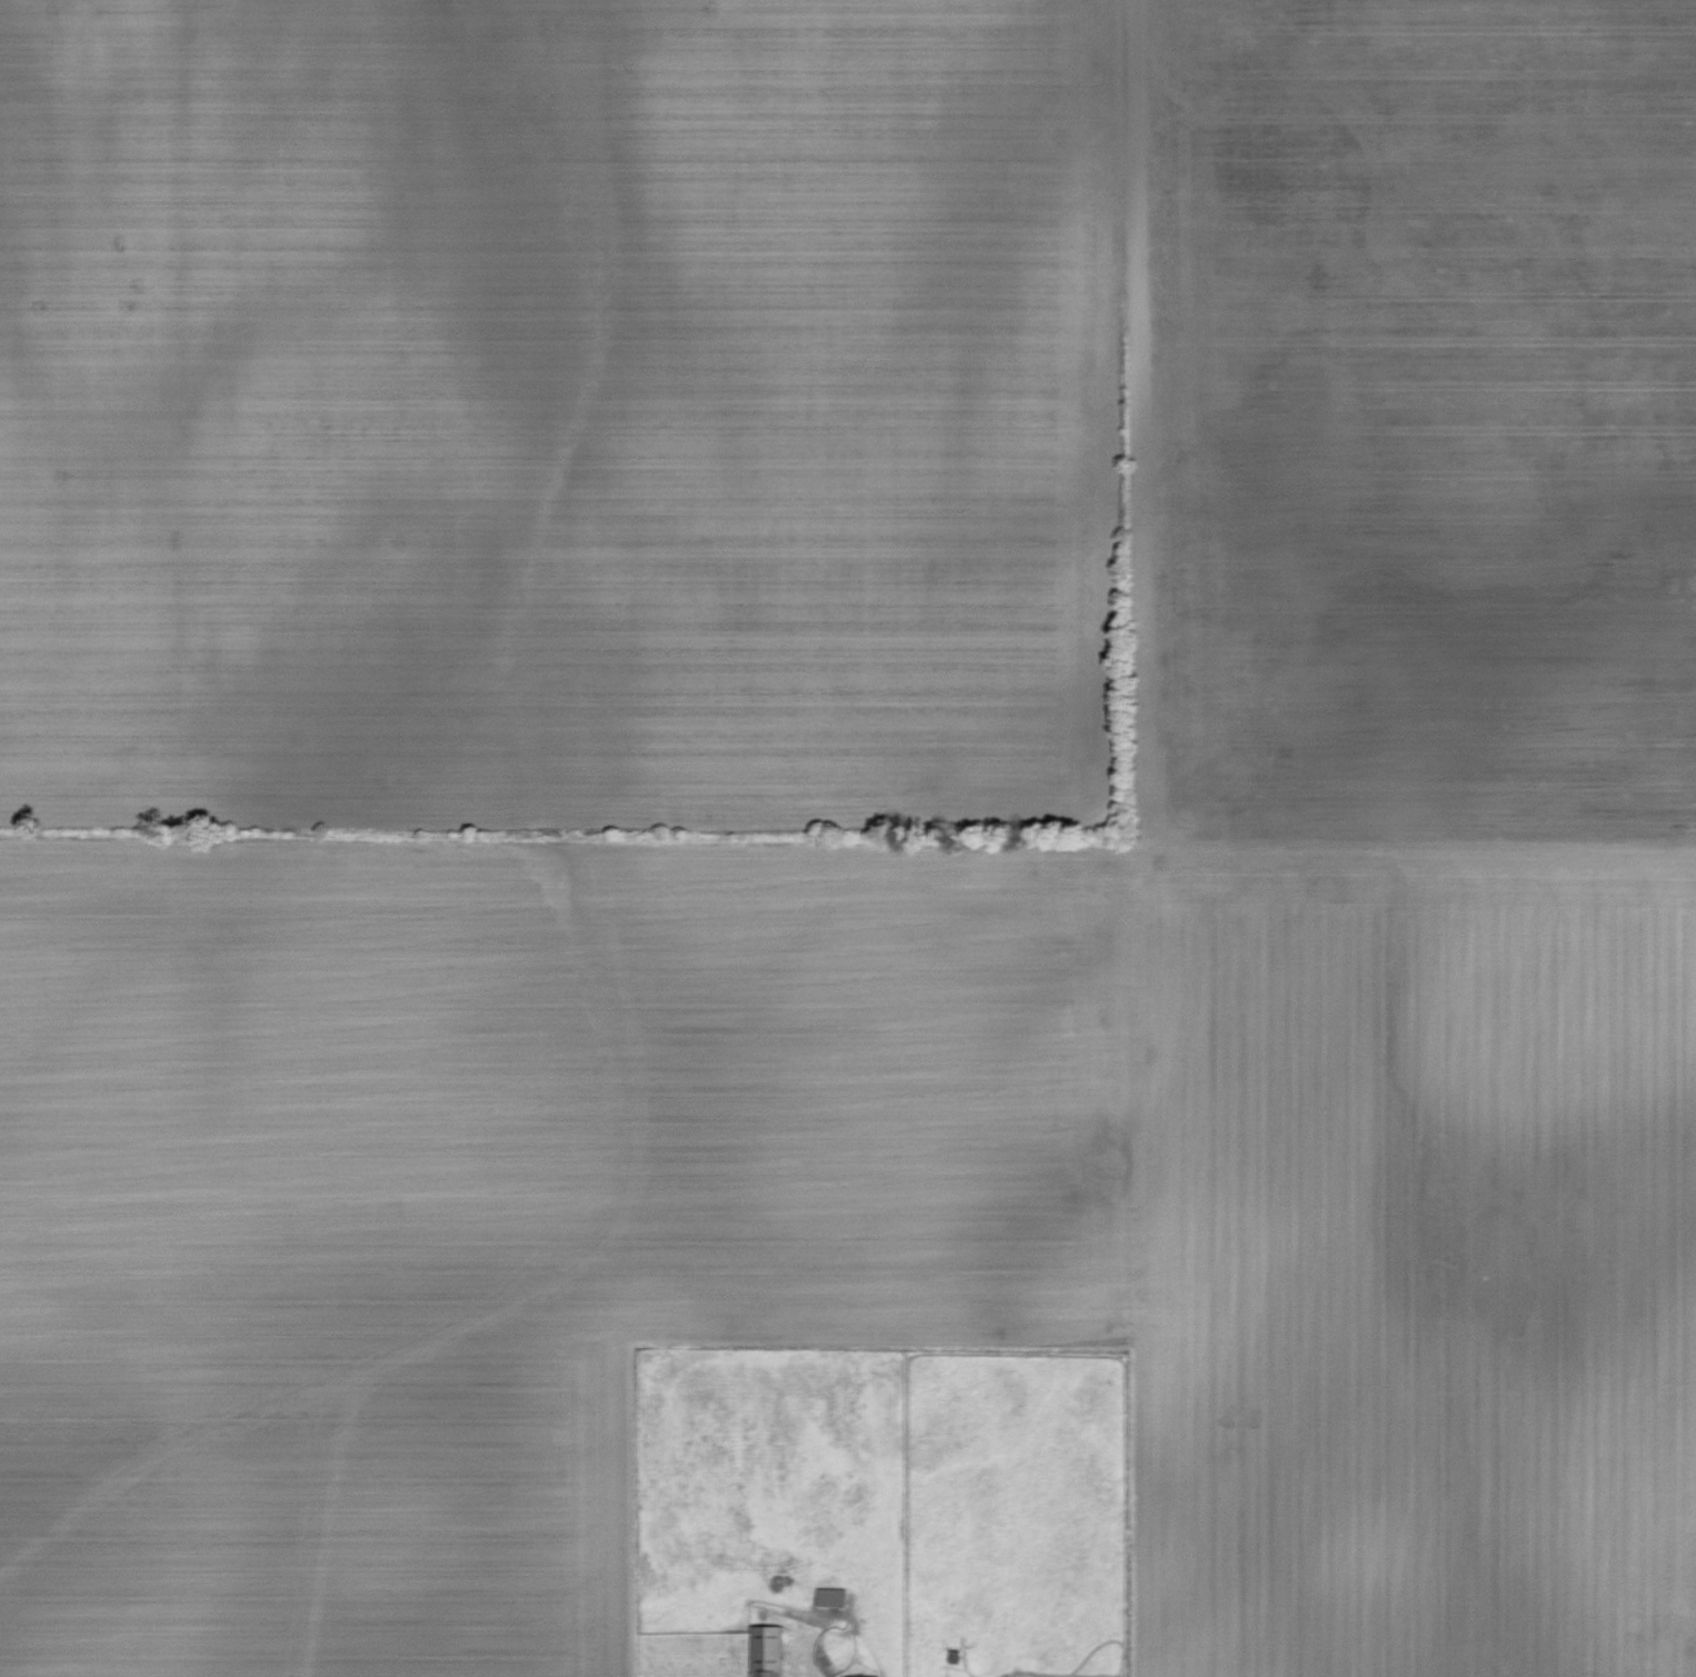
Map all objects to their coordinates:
building: (832, 1598)
building: (770, 1646)

